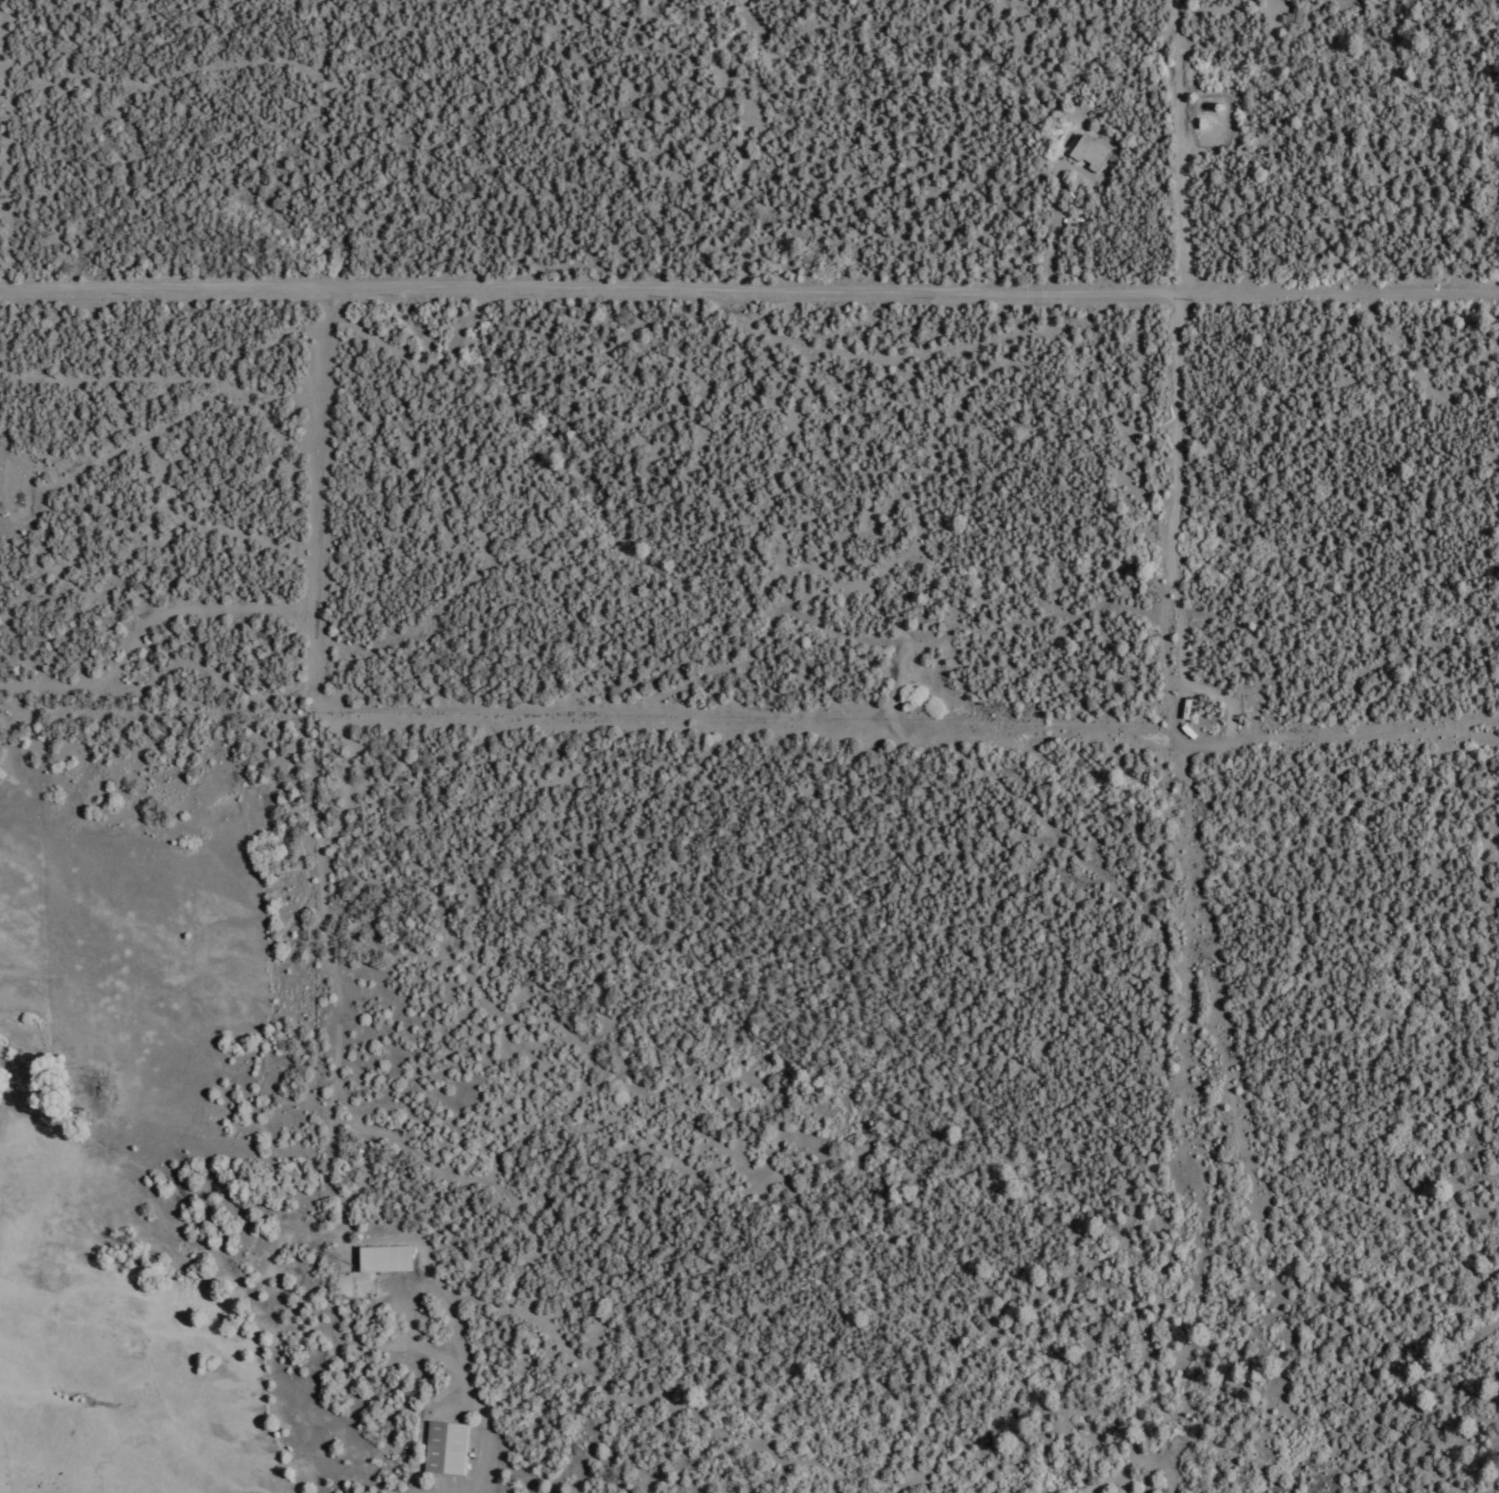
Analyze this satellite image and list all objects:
building: (1296, 15)
building: (1091, 151)
road: (912, 391)
building: (390, 1257)
building: (450, 1447)
road: (934, 1459)

